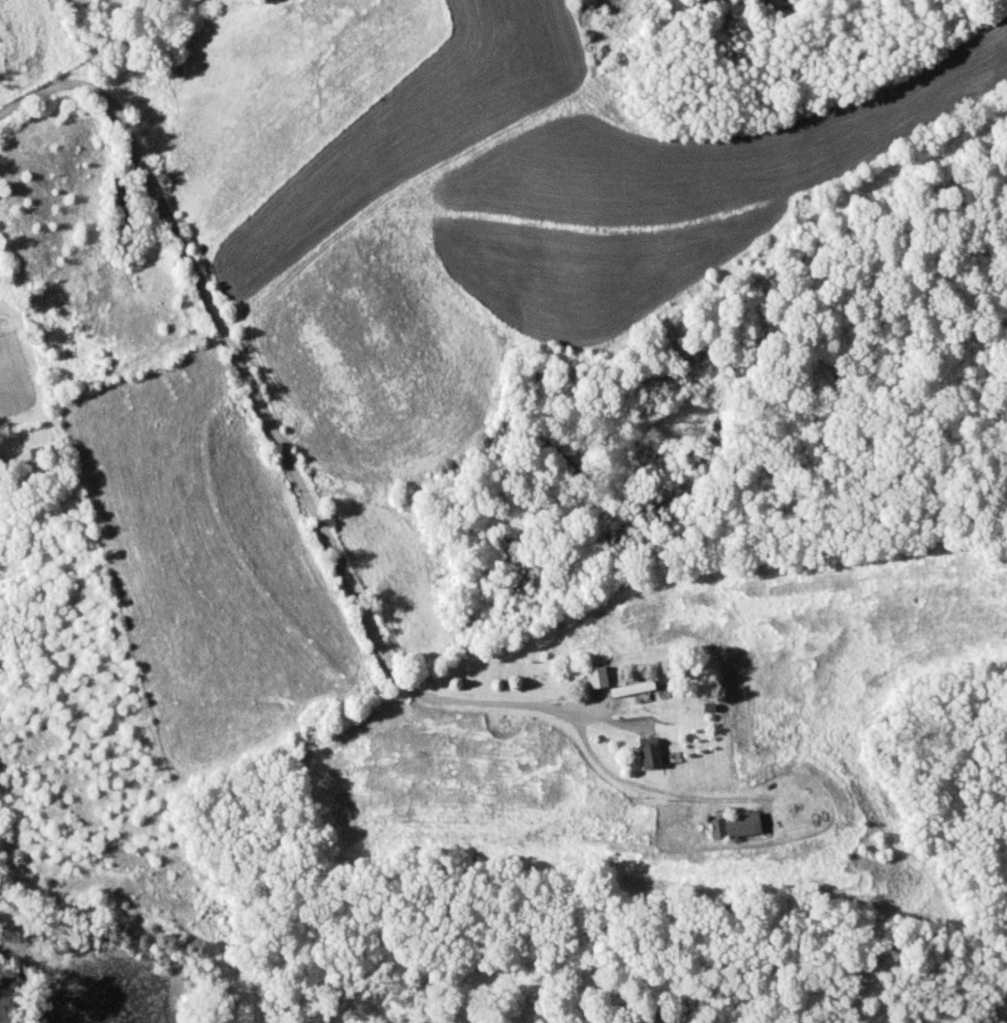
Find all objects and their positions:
road: (39, 93)
road: (288, 452)
road: (651, 779)

